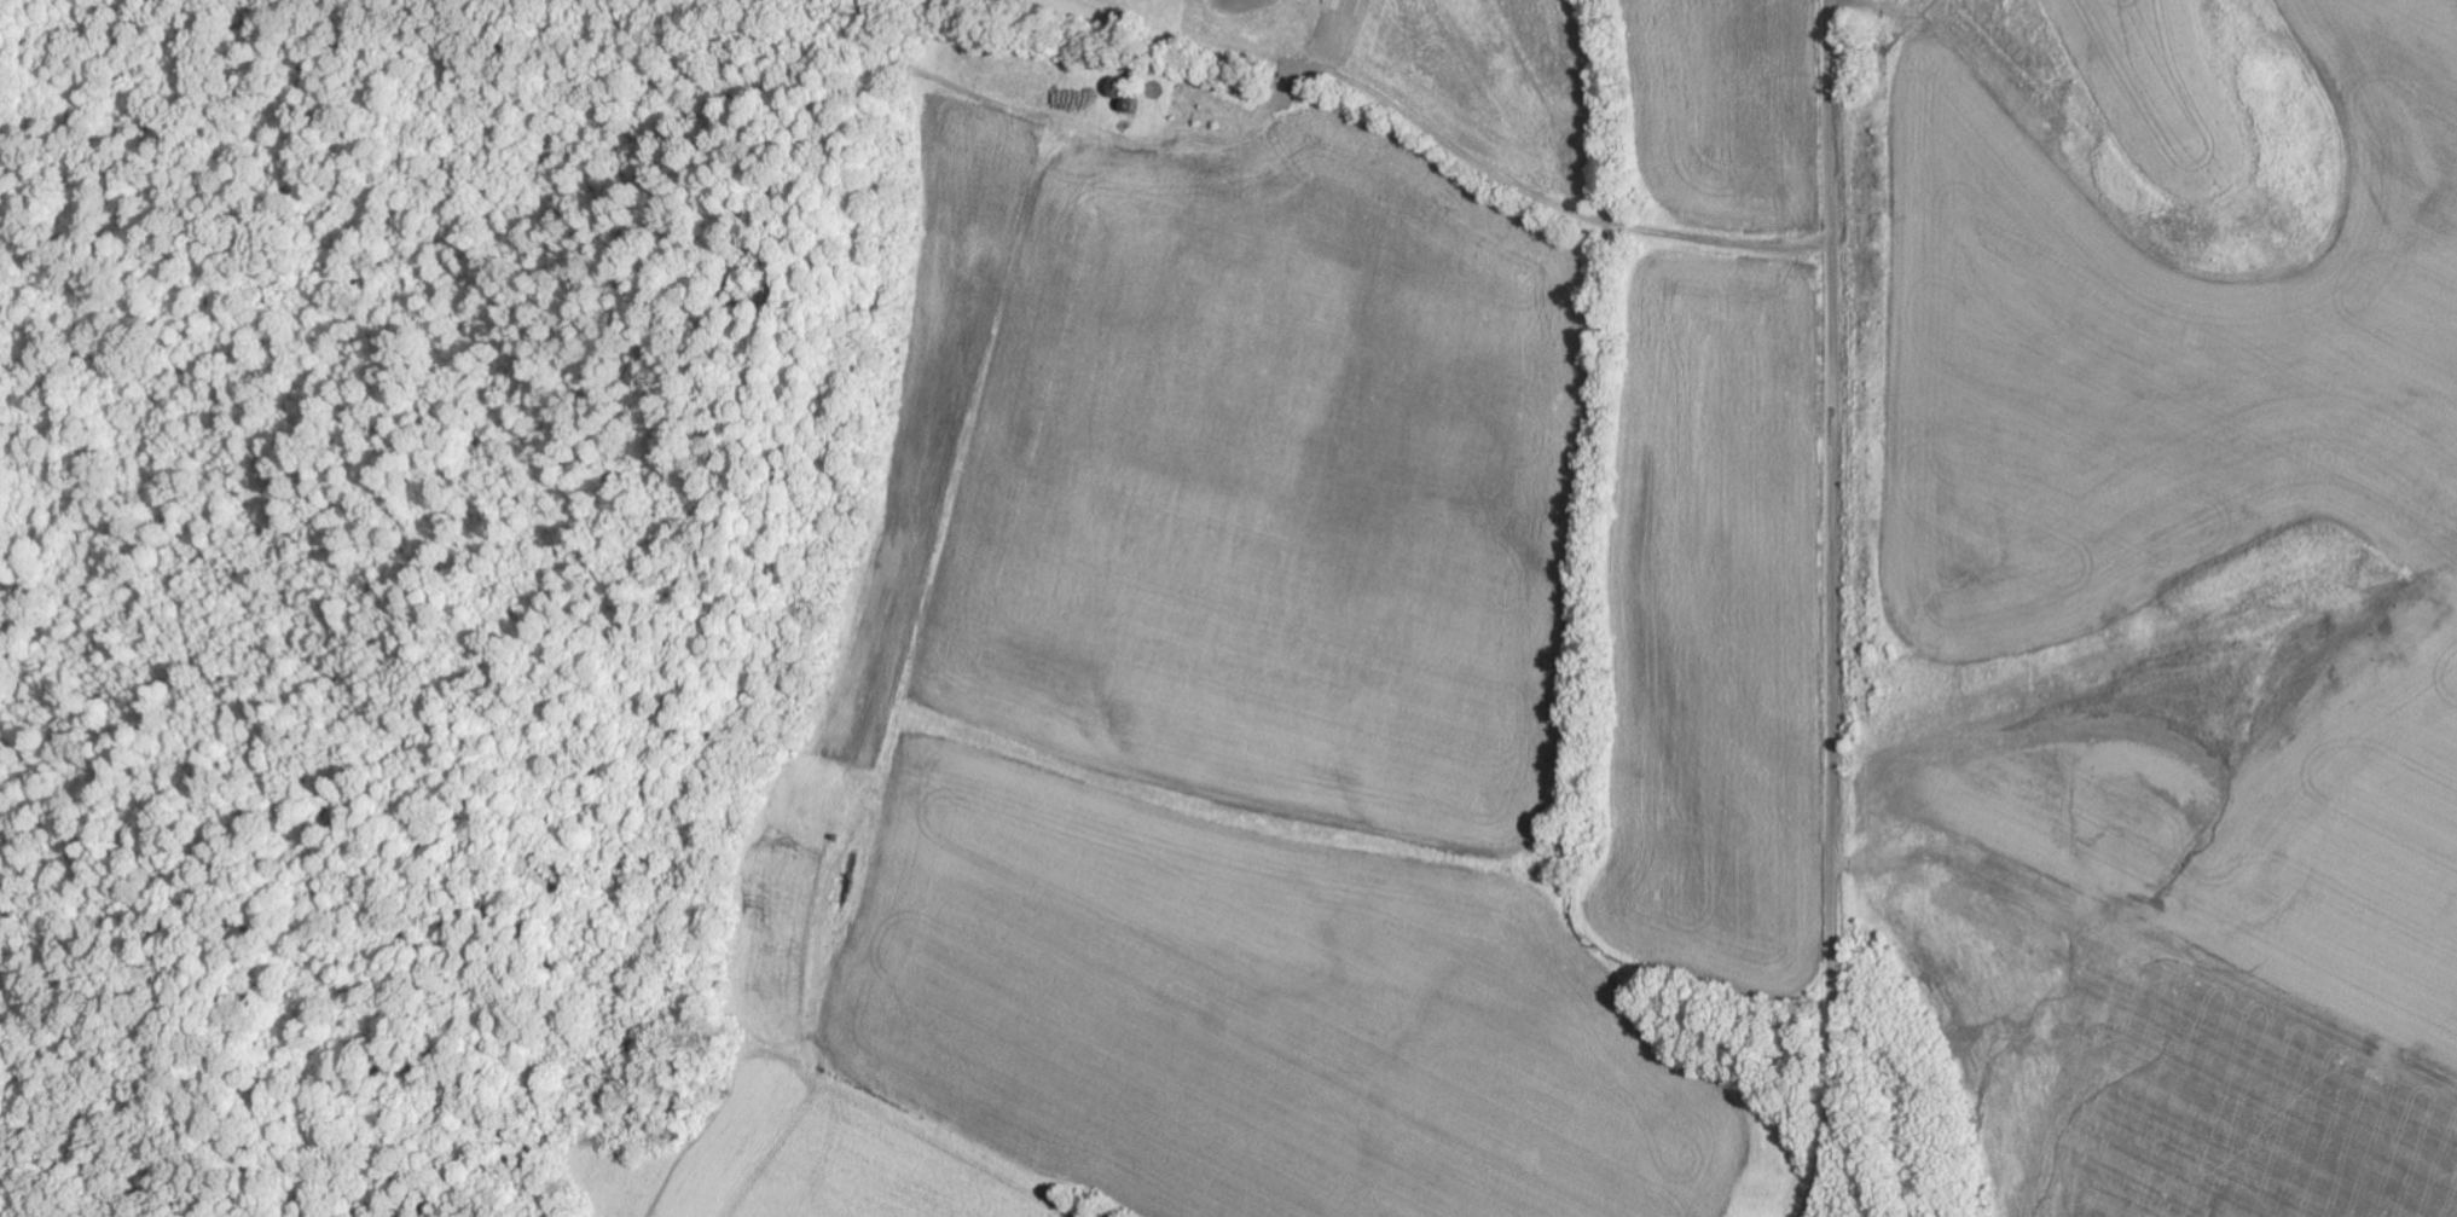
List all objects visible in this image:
road: (1835, 610)

